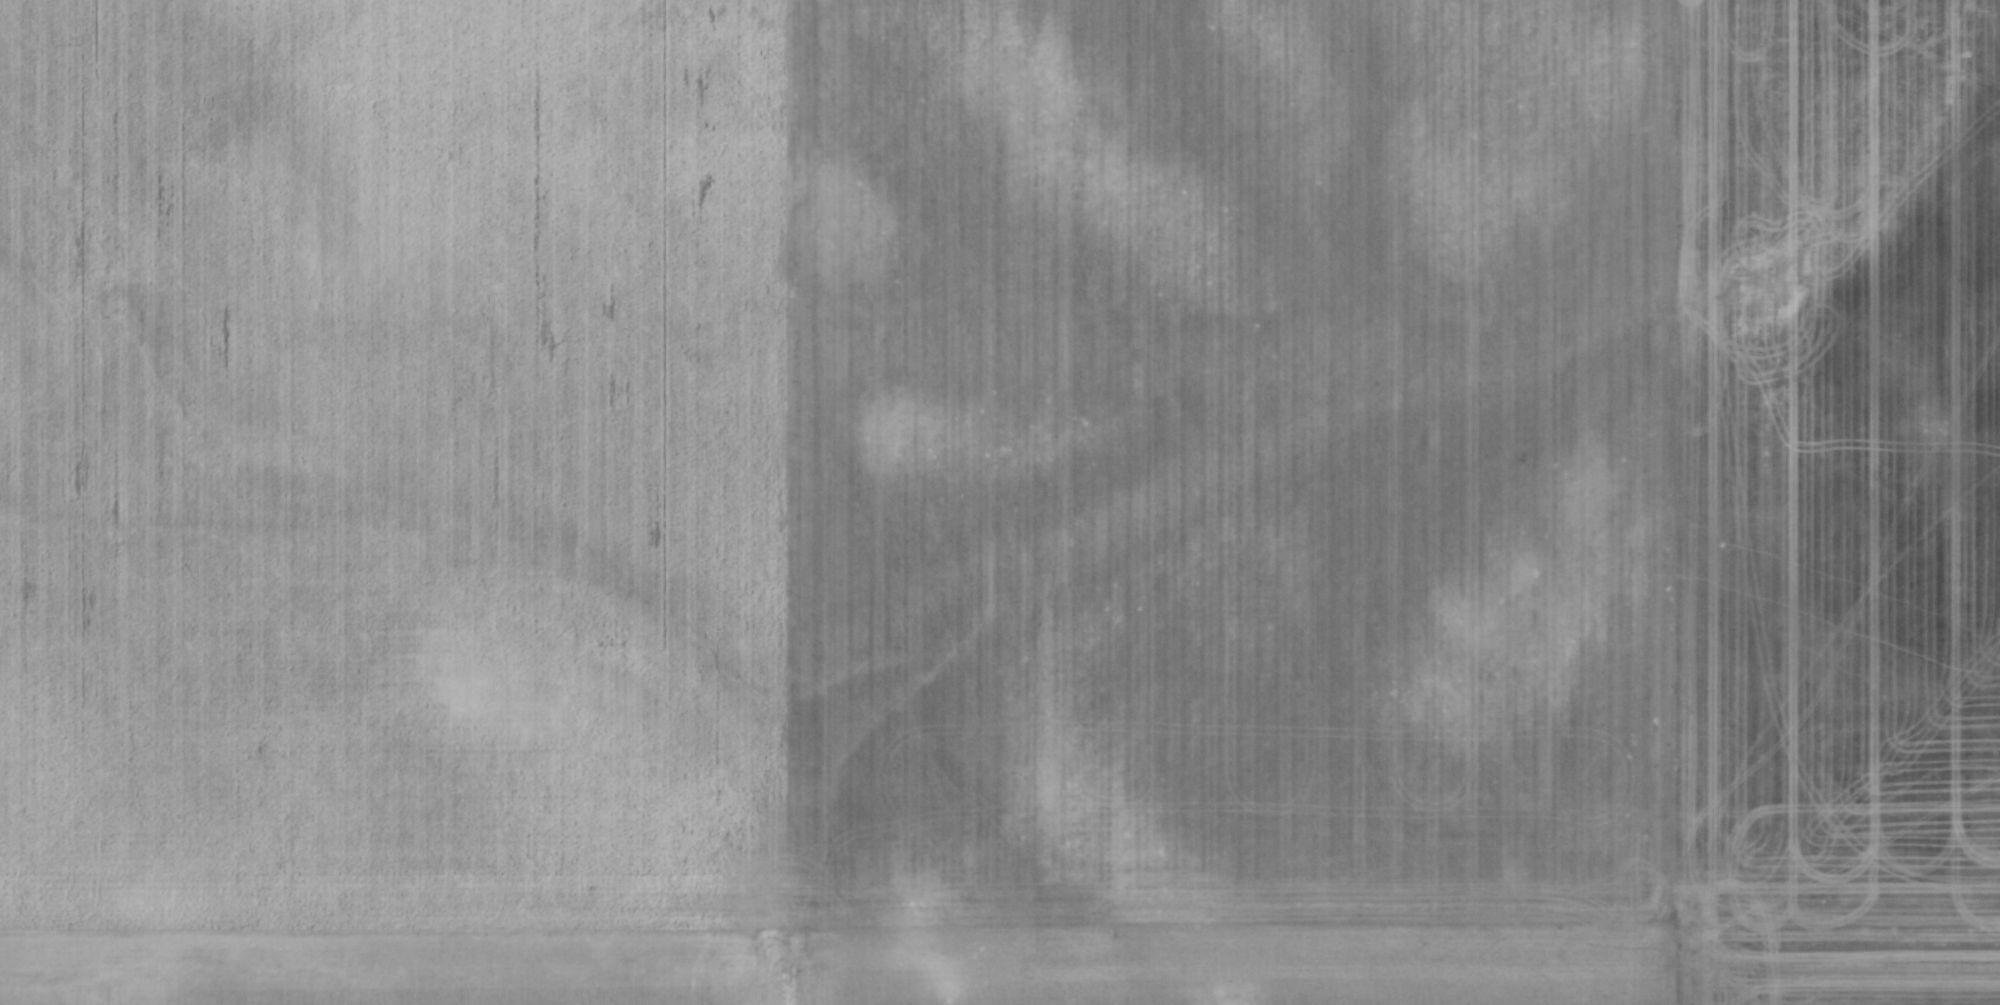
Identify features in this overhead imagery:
crop: (1000, 502)

